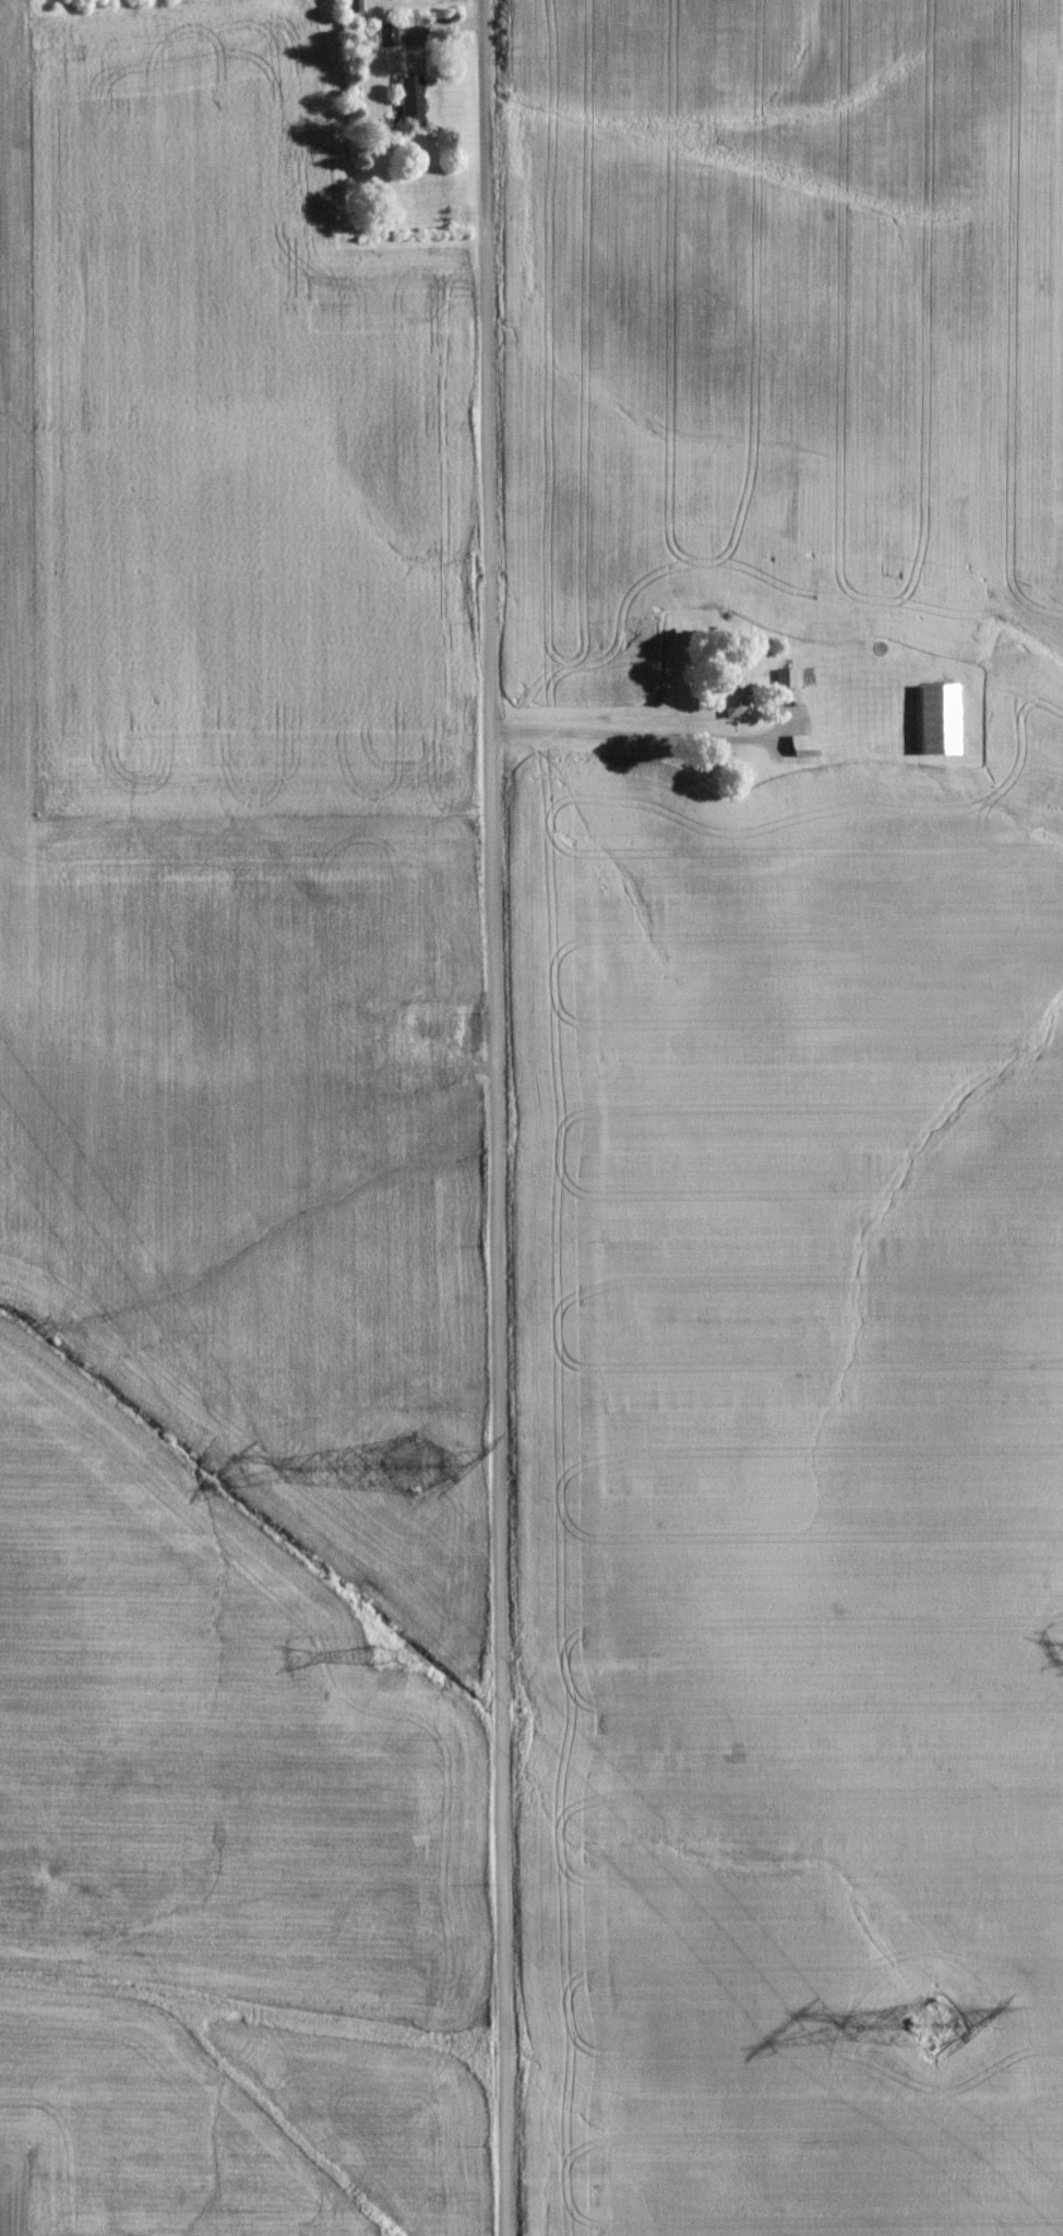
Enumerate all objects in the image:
building: (346, 0)
building: (410, 98)
building: (786, 683)
building: (734, 709)
building: (937, 721)
road: (629, 739)
road: (494, 1117)
power tower: (417, 1467)
power tower: (369, 1658)
power tower: (928, 2037)

